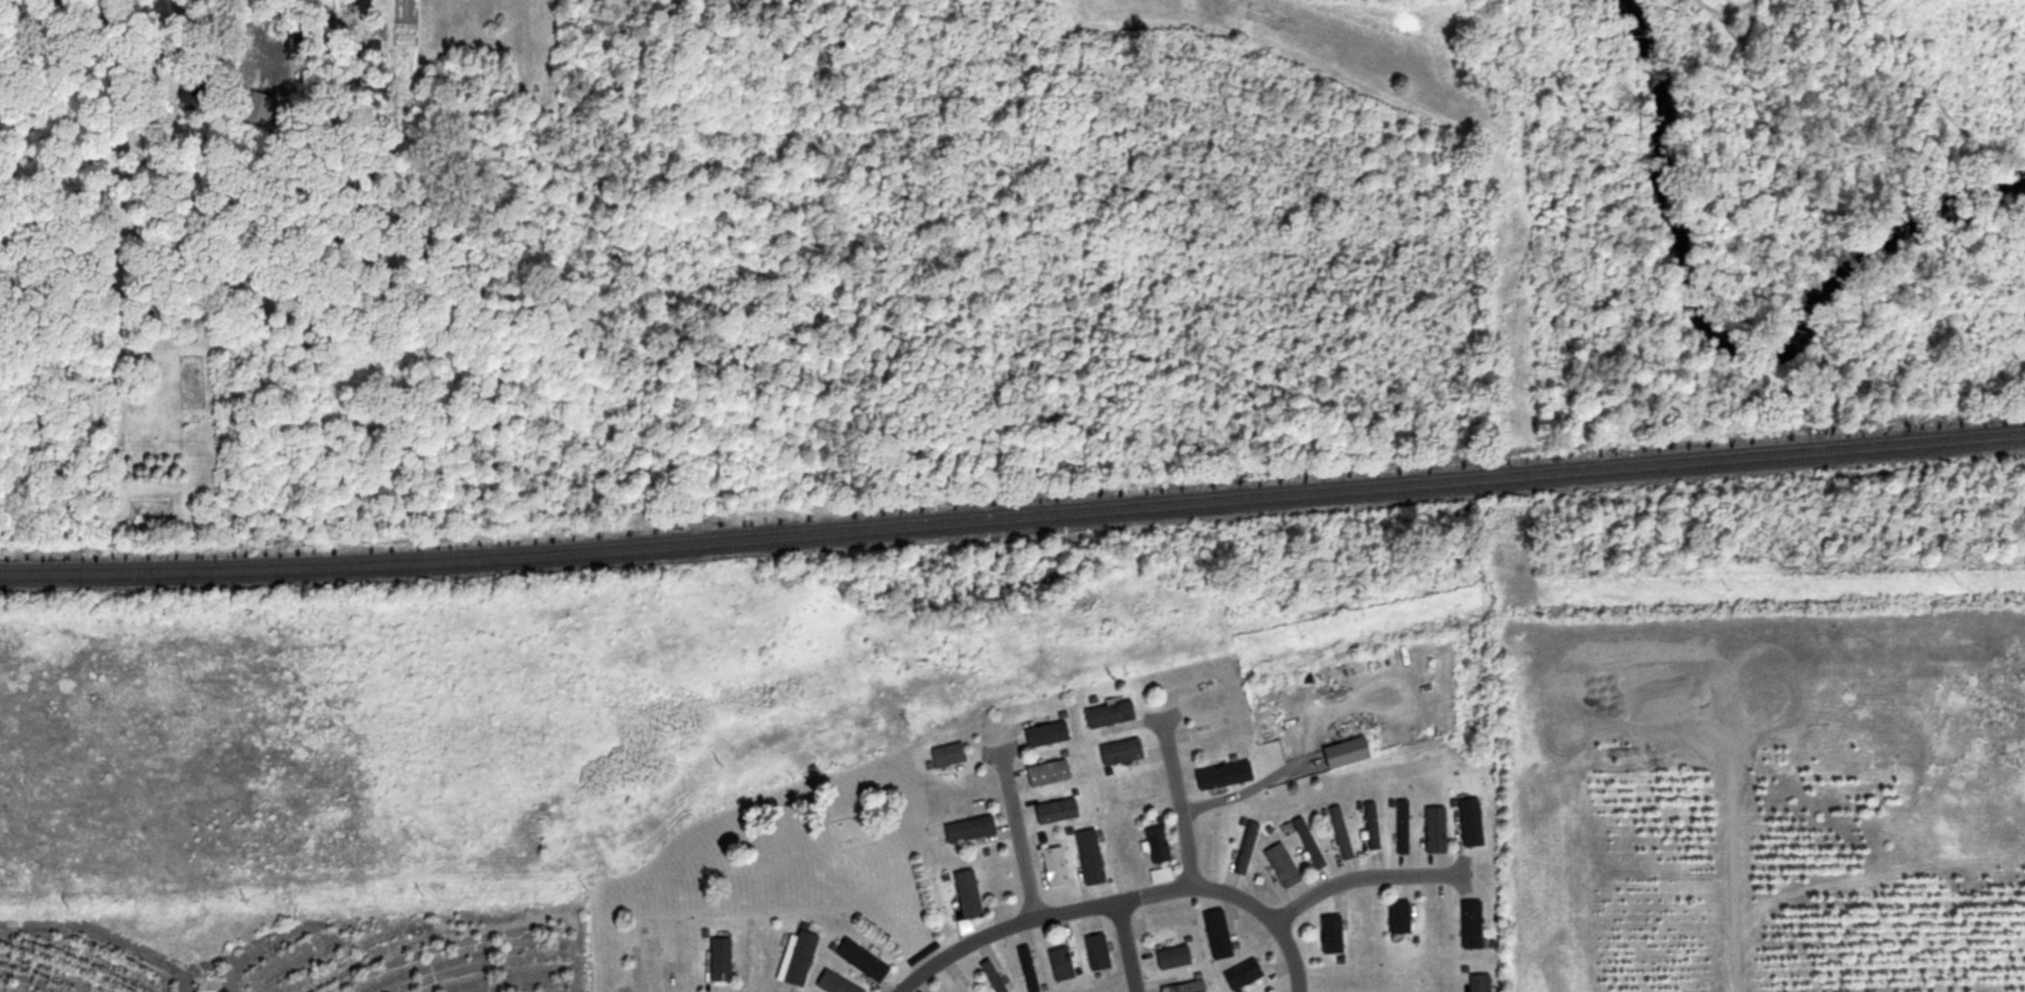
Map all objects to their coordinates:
building: (186, 95)
building: (256, 108)
railway: (1013, 510)
railway: (1013, 520)
building: (1107, 714)
building: (1344, 752)
building: (945, 755)
building: (1221, 775)
road: (1181, 803)
building: (1468, 822)
building: (967, 829)
road: (1013, 833)
building: (1306, 842)
building: (1155, 844)
building: (1244, 848)
building: (1280, 865)
building: (1158, 875)
road: (1362, 881)
road: (1726, 885)
building: (965, 895)
road: (1117, 901)
building: (1215, 934)
building: (1329, 934)
road: (1118, 947)
building: (1095, 952)
building: (754, 954)
building: (795, 958)
building: (1170, 958)
building: (717, 959)
building: (859, 960)
building: (1060, 963)
building: (1477, 983)
building: (206, 985)
building: (1183, 987)

